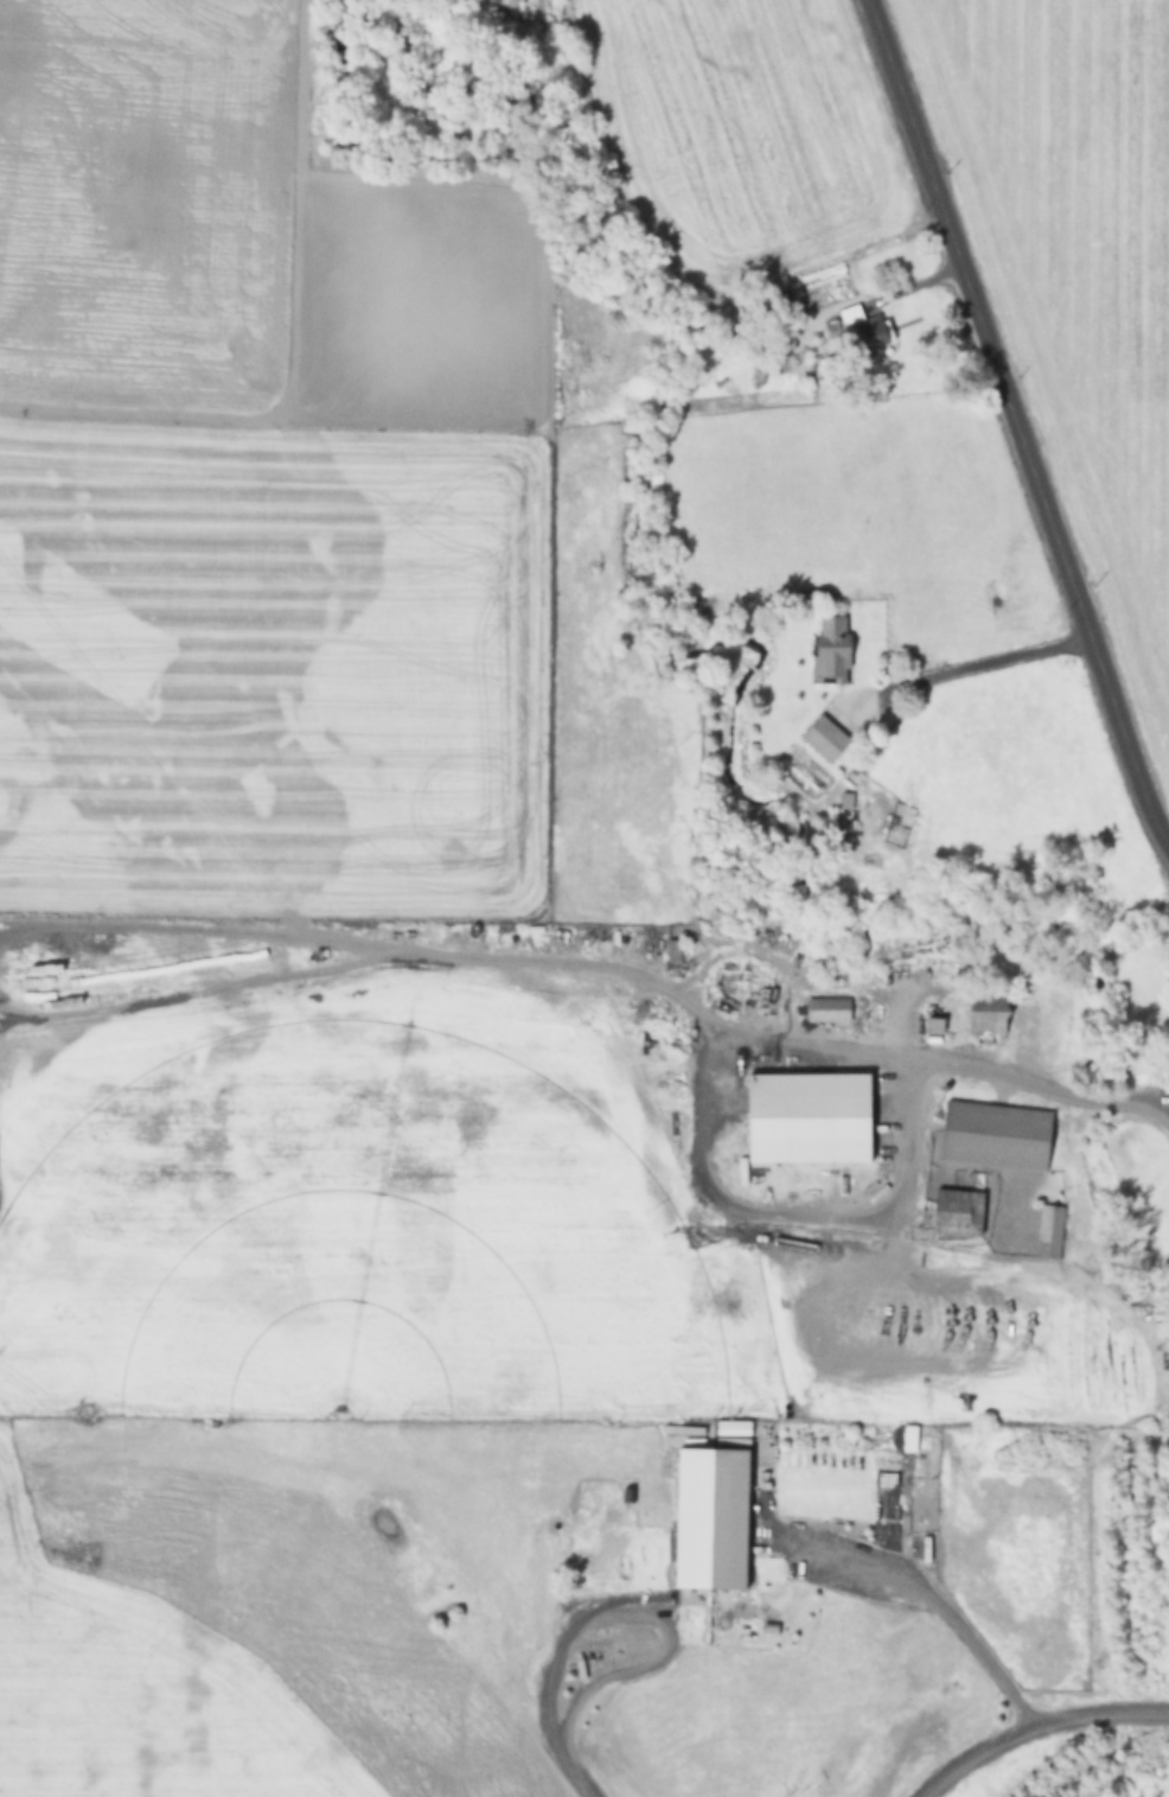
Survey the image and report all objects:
road: (1016, 425)

